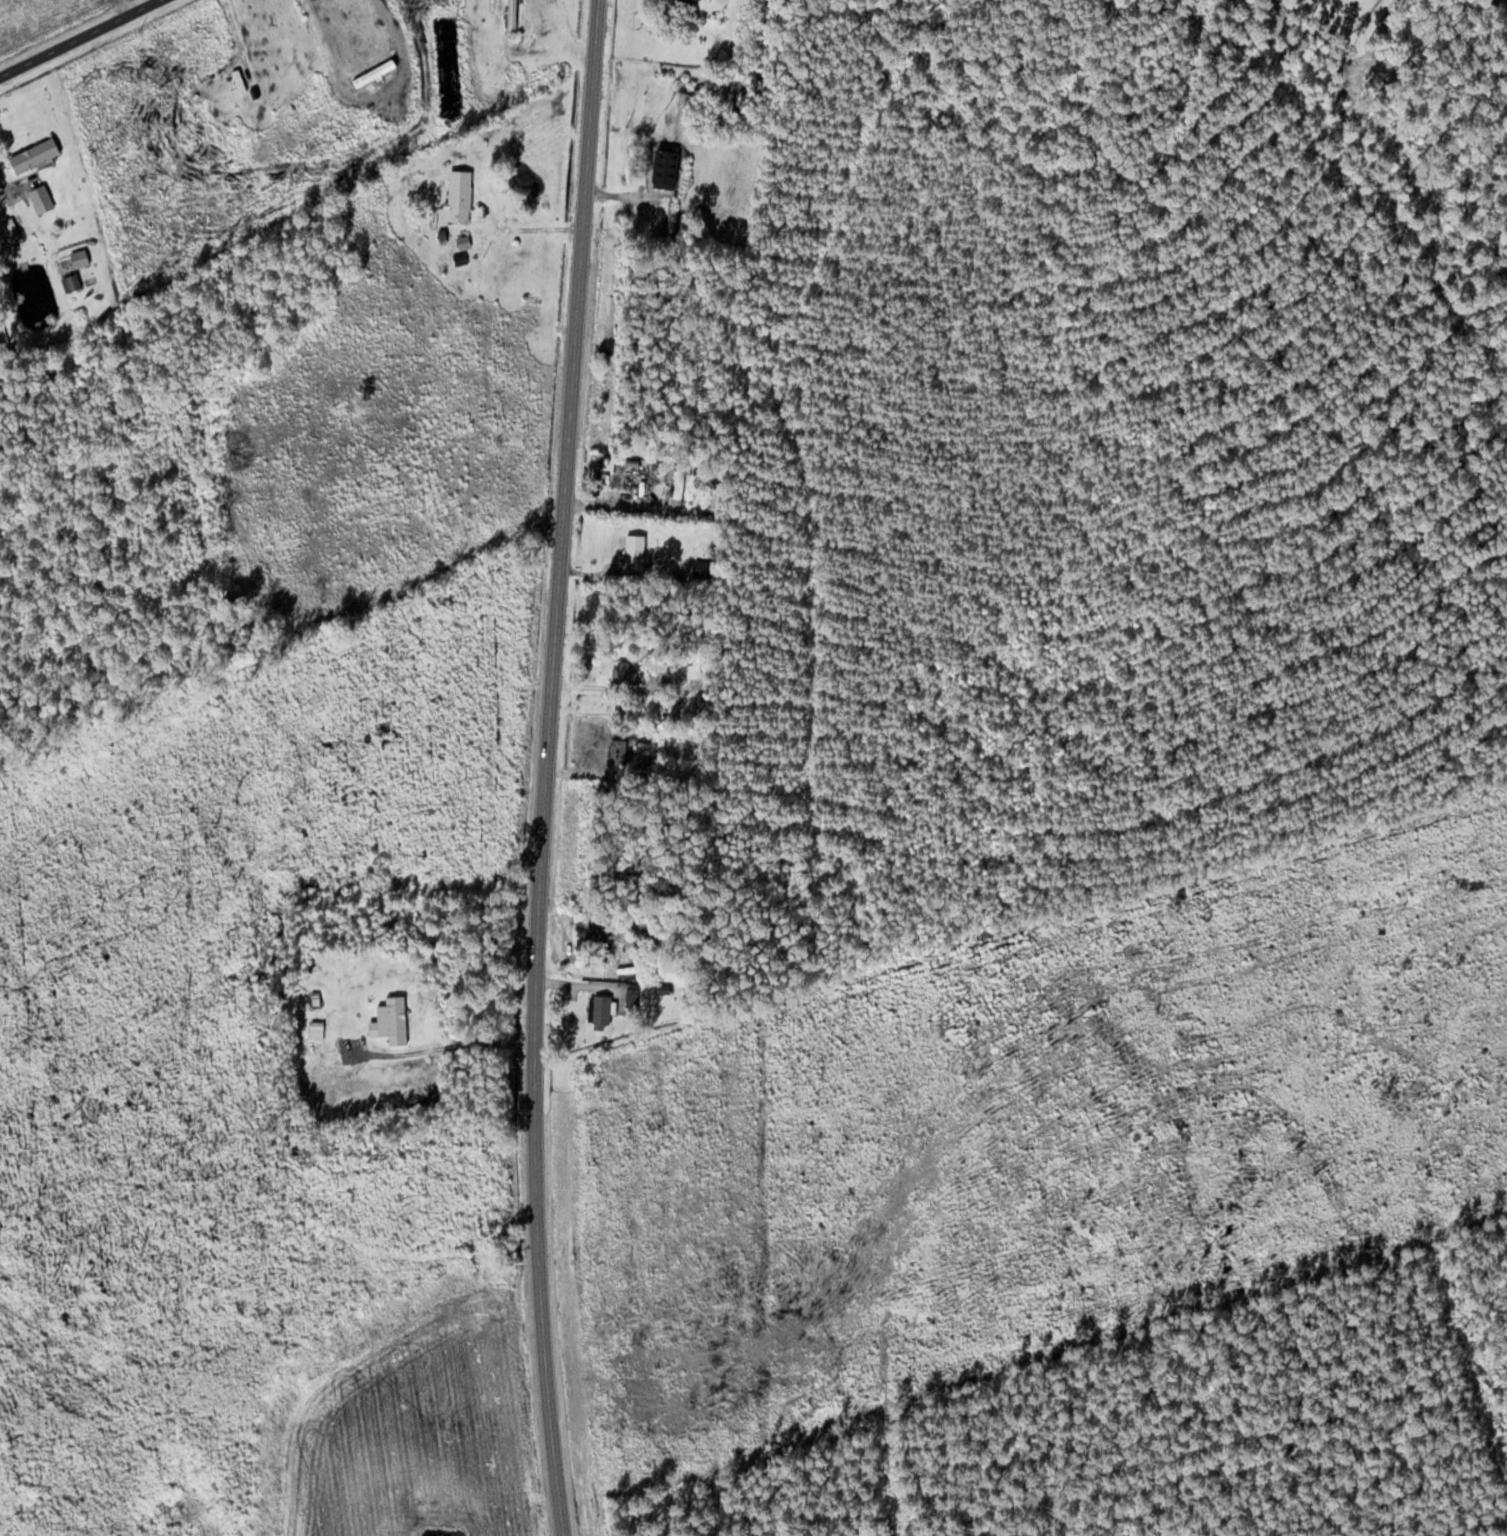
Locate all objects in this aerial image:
building: (689, 3)
building: (512, 15)
road: (81, 39)
building: (240, 80)
building: (35, 154)
building: (666, 166)
building: (460, 195)
building: (42, 198)
building: (10, 228)
building: (72, 282)
building: (534, 316)
building: (681, 483)
building: (635, 550)
building: (703, 570)
building: (629, 672)
building: (619, 750)
road: (552, 768)
building: (599, 942)
building: (633, 997)
building: (602, 1011)
building: (394, 1020)
building: (318, 1029)

